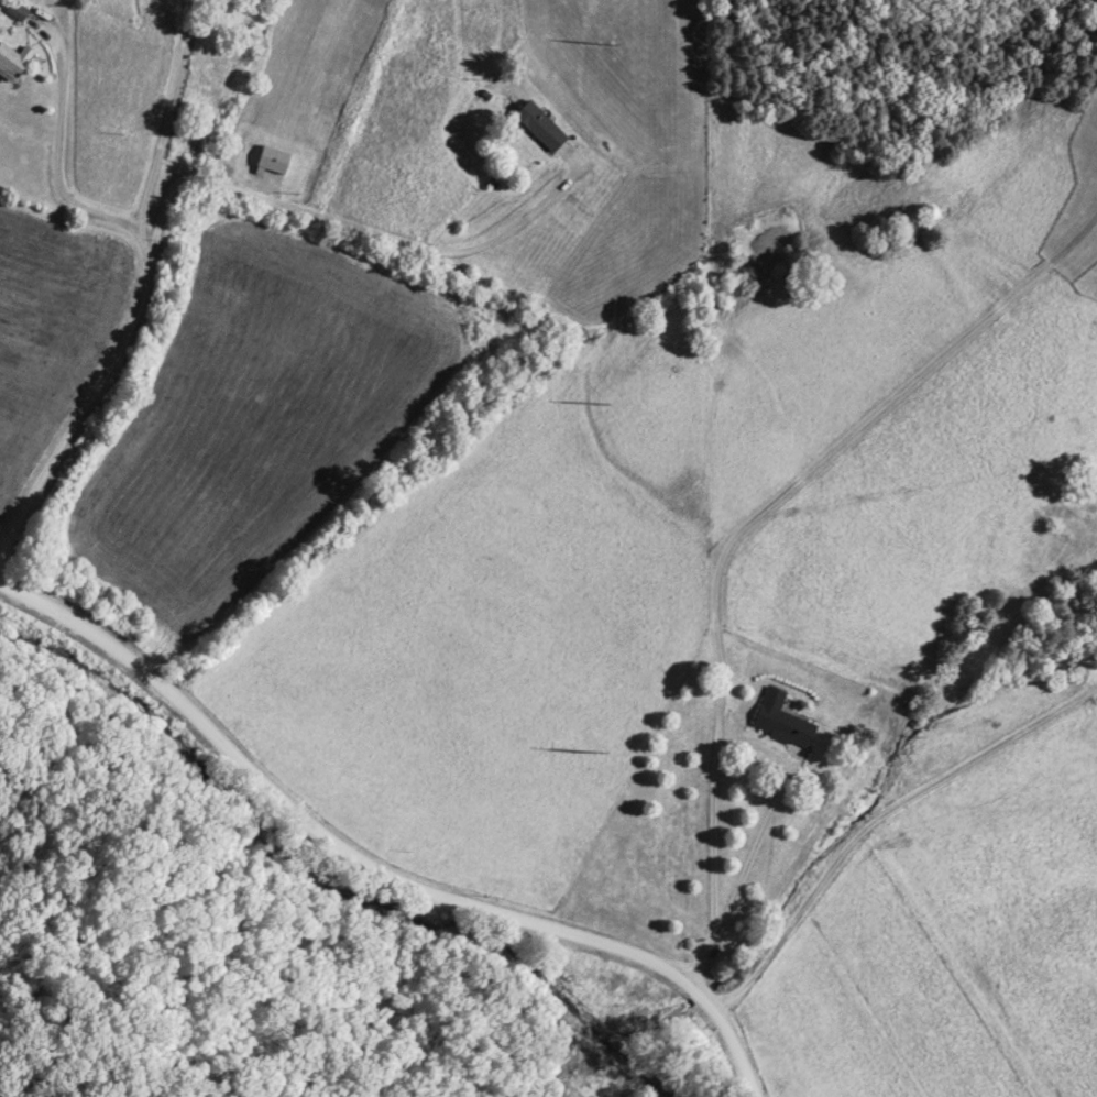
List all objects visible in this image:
building: (17, 13)
power tower: (605, 47)
building: (10, 67)
building: (539, 129)
road: (228, 189)
road: (146, 297)
power tower: (597, 404)
road: (744, 533)
building: (780, 722)
power tower: (590, 757)
road: (878, 816)
road: (771, 823)
road: (372, 869)

